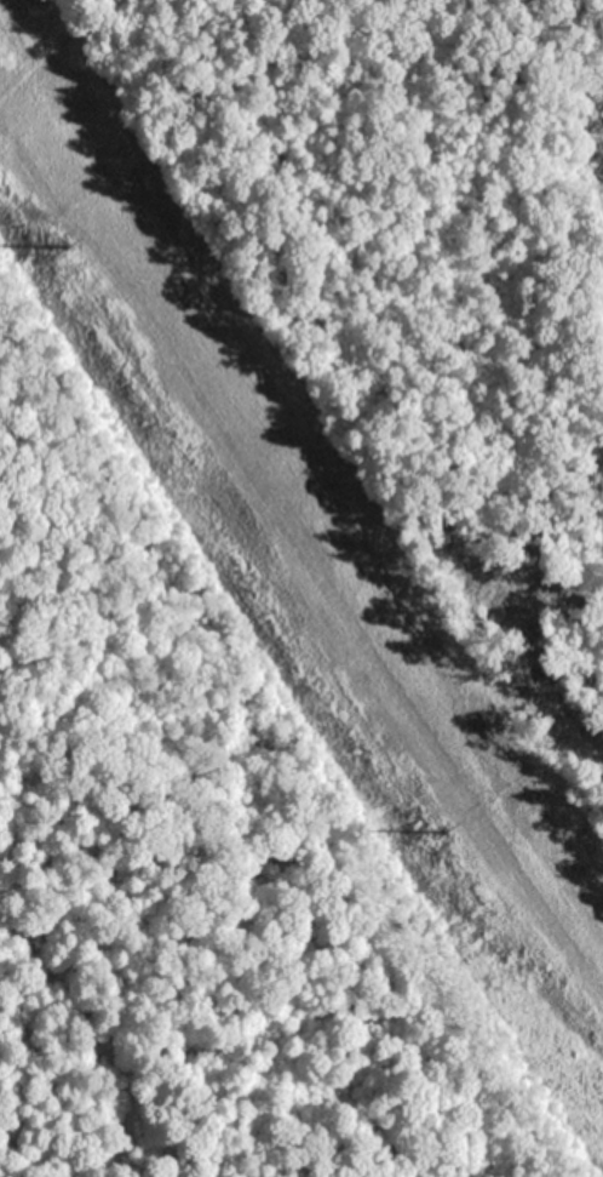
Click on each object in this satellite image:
power tower: (73, 244)
power tower: (440, 829)

